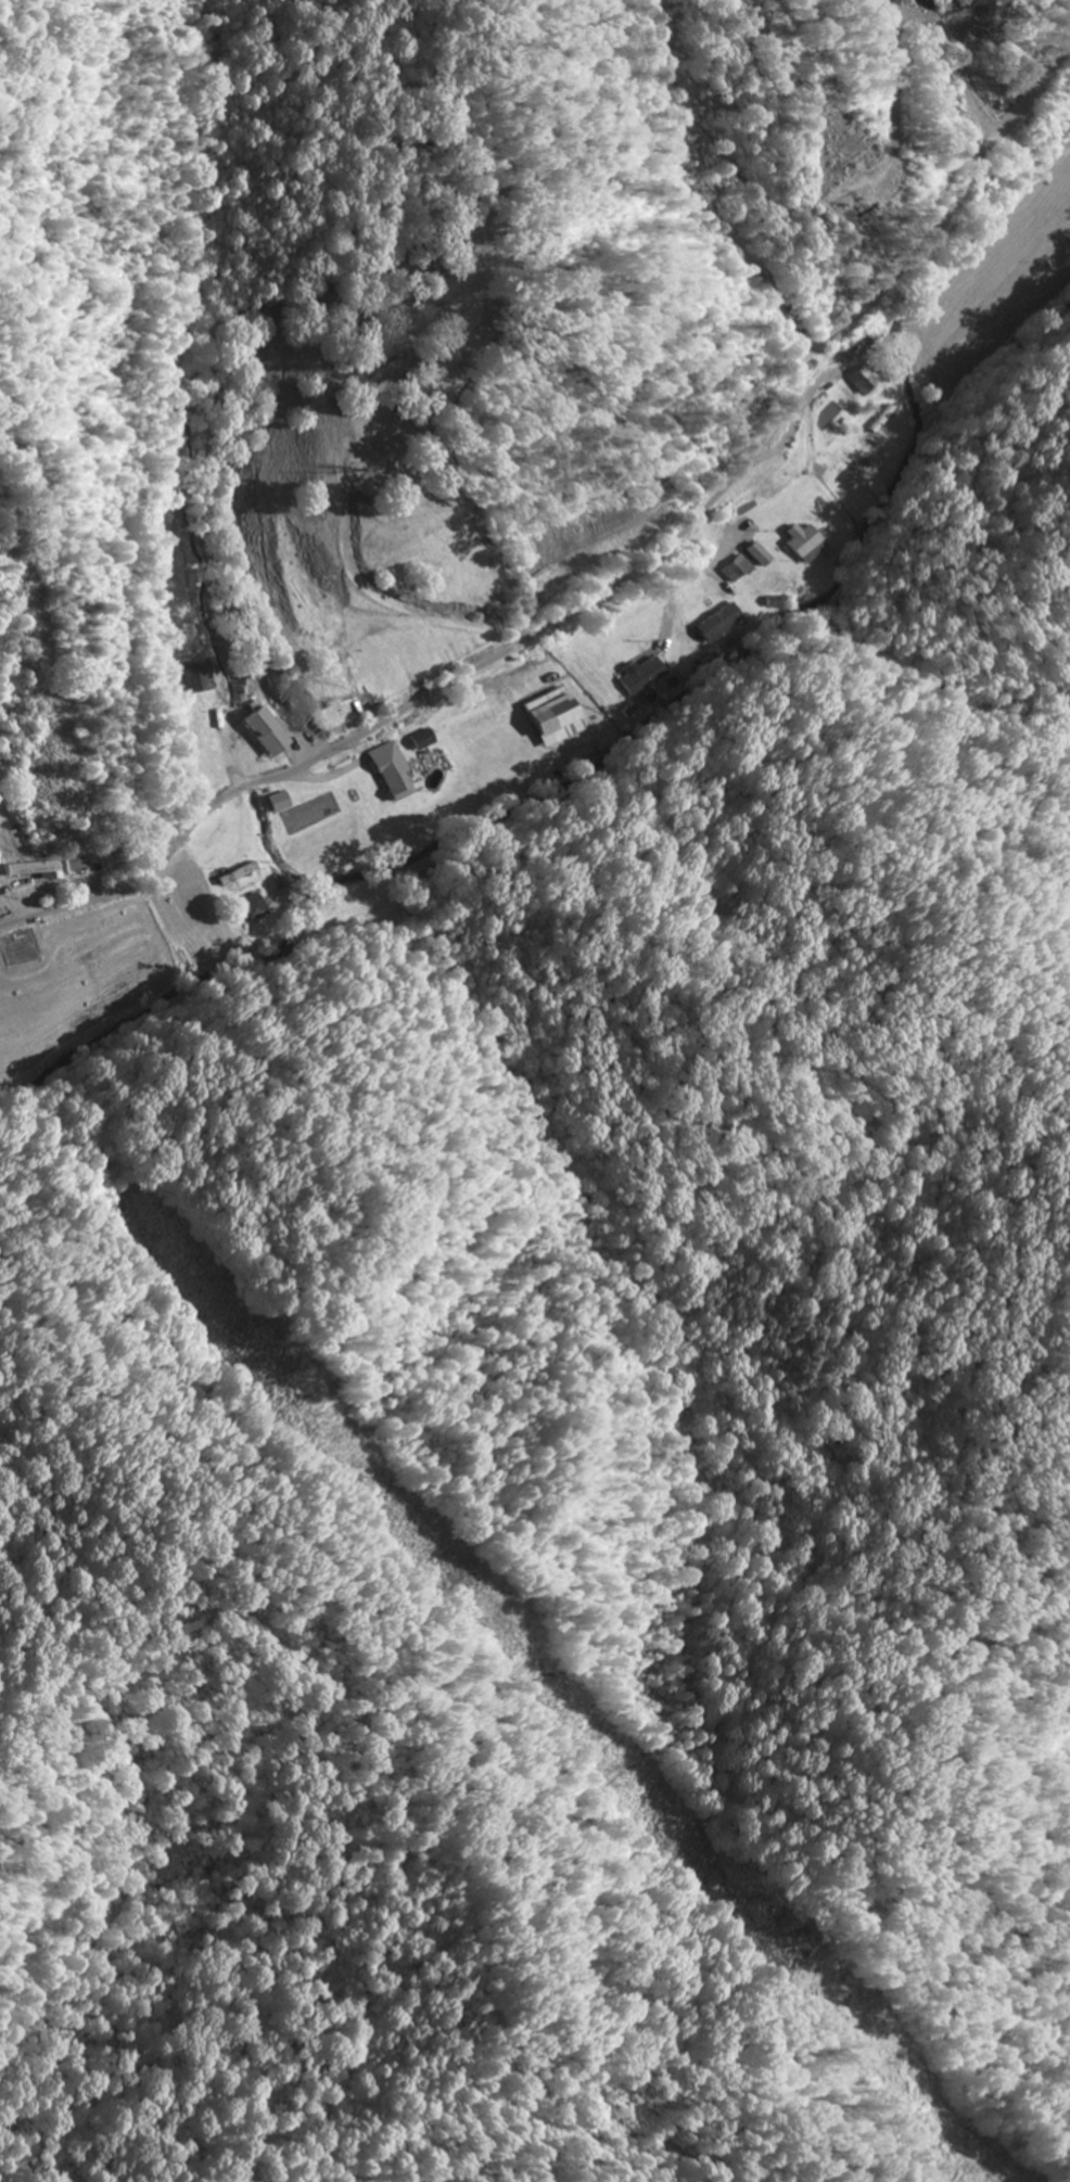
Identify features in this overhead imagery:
road: (702, 225)
building: (865, 381)
building: (806, 544)
building: (762, 554)
building: (740, 569)
road: (616, 585)
building: (722, 623)
building: (644, 675)
building: (200, 677)
building: (555, 718)
building: (268, 732)
building: (426, 740)
building: (393, 770)
building: (279, 803)
building: (33, 868)
building: (253, 907)

